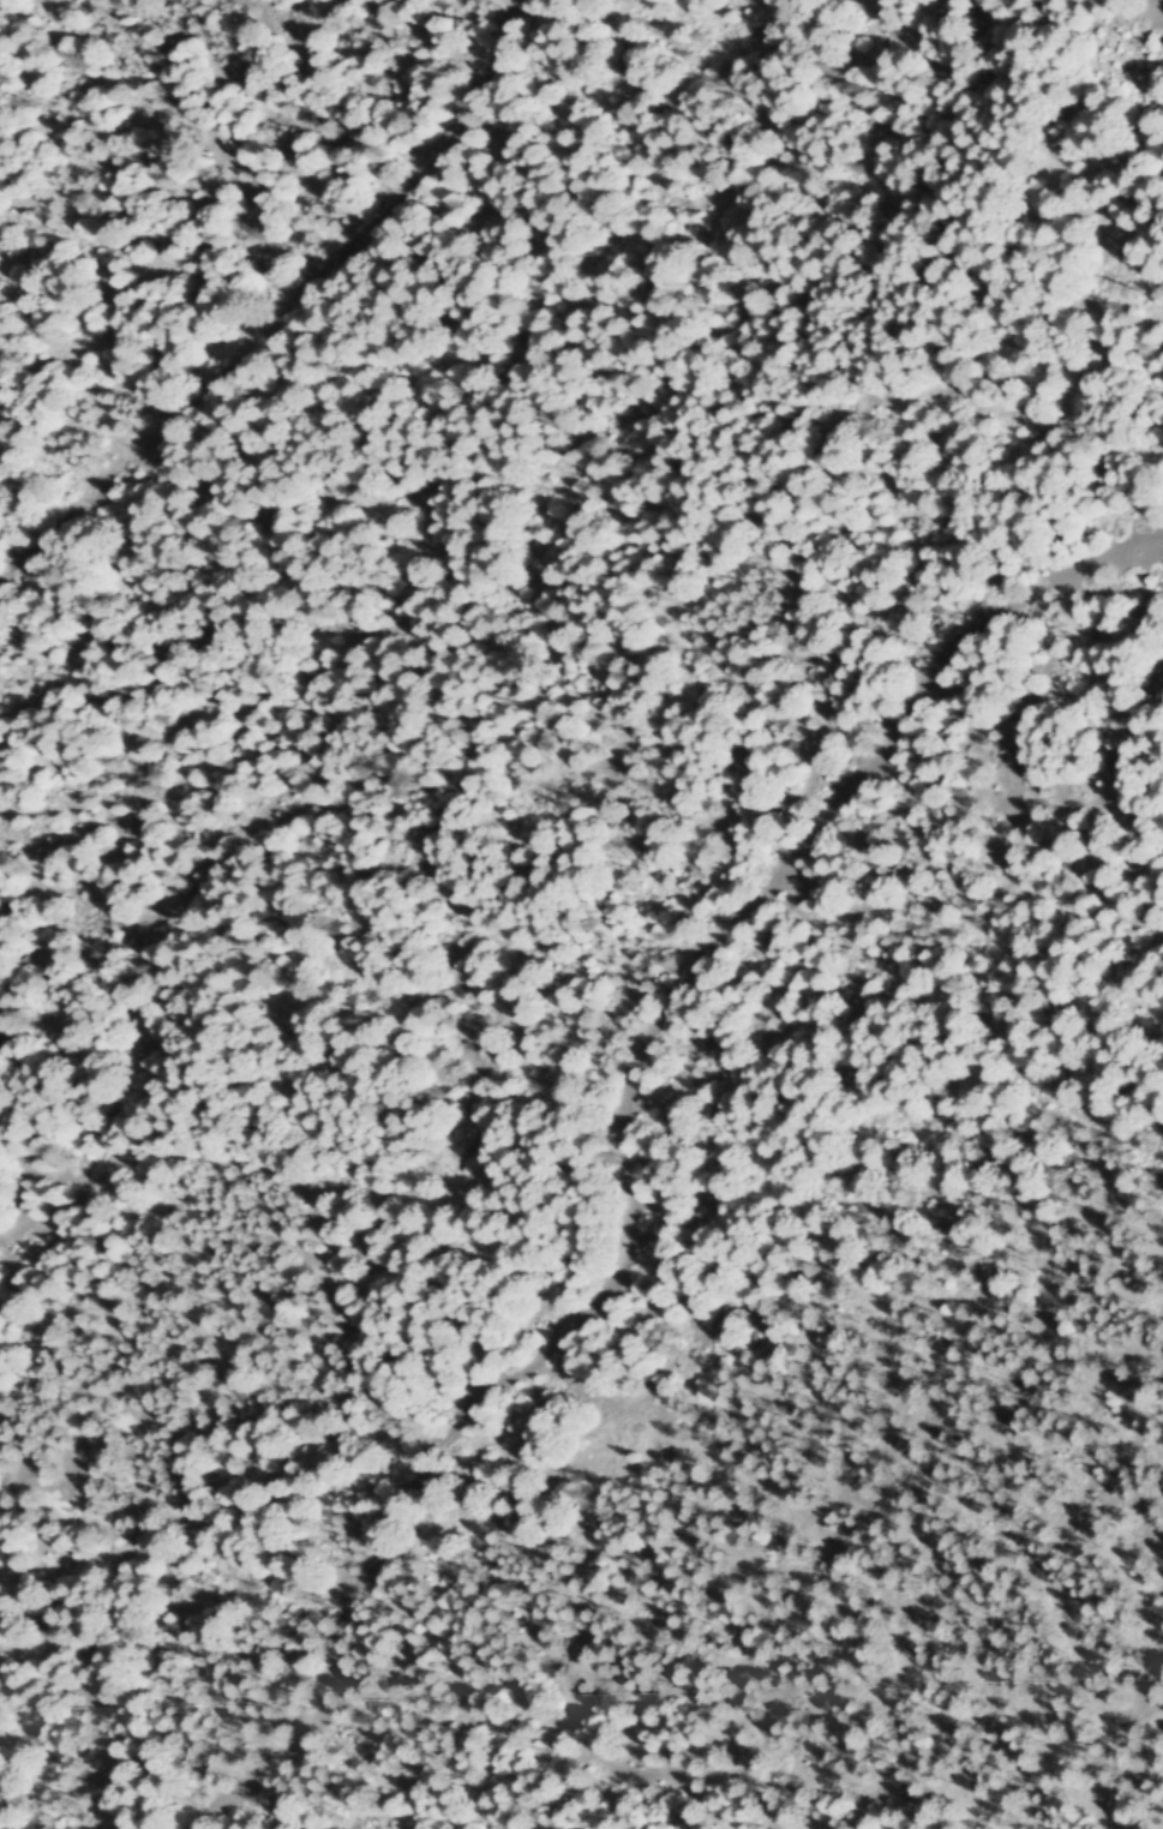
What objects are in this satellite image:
road: (275, 318)

